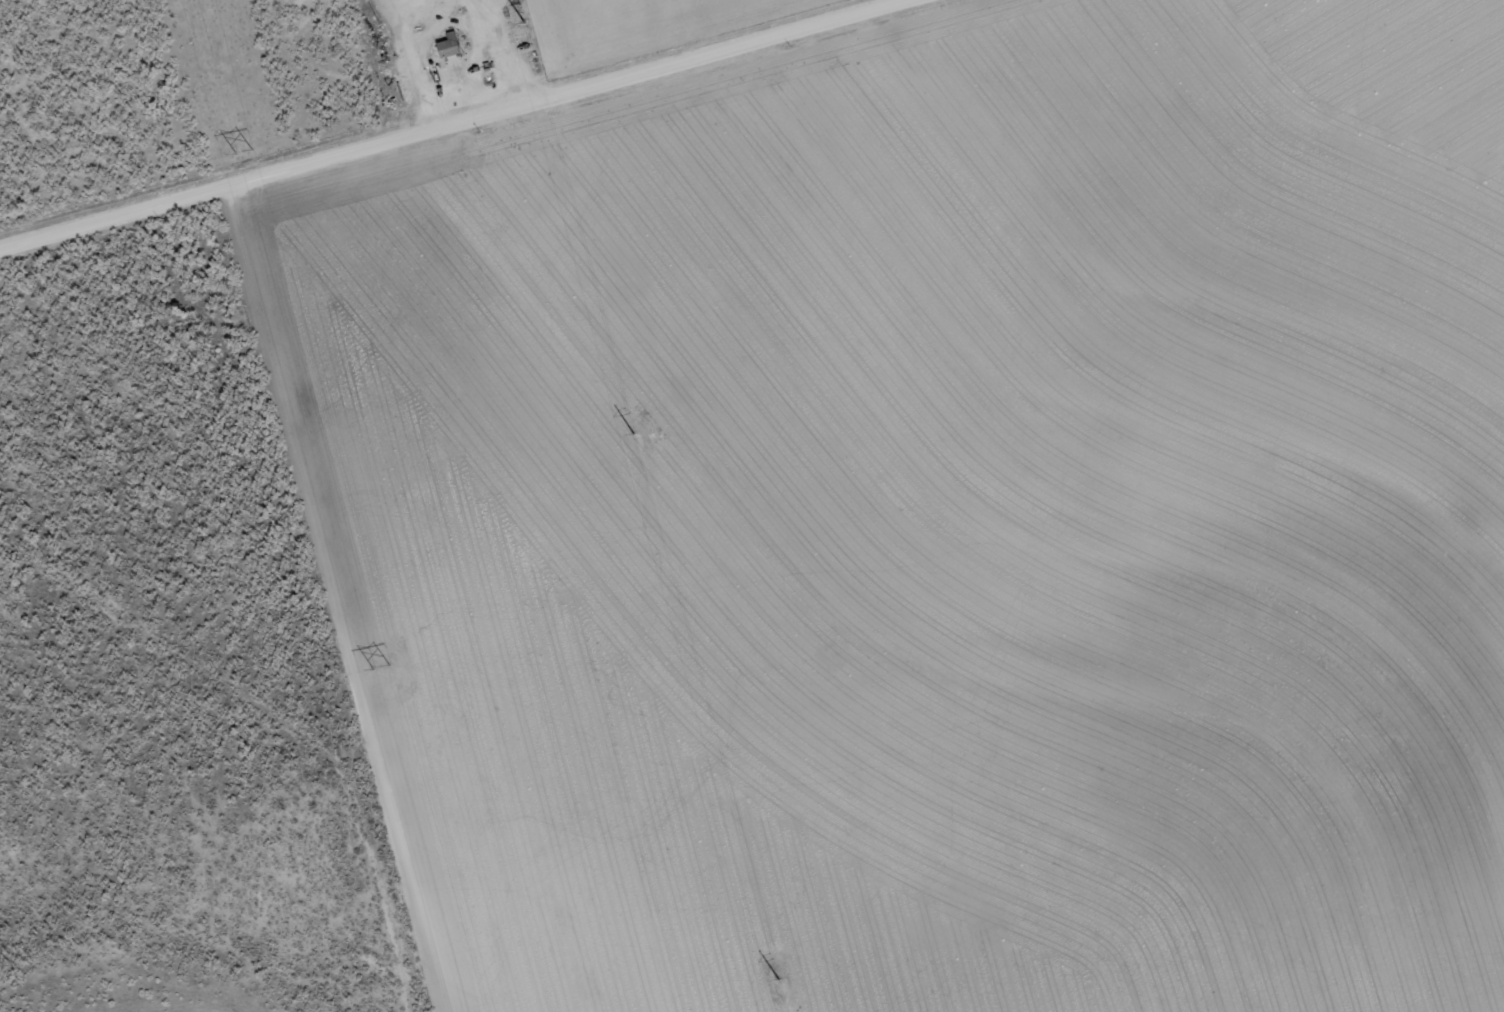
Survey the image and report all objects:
power tower: (525, 20)
building: (449, 44)
road: (444, 122)
power tower: (241, 148)
power tower: (634, 433)
power tower: (382, 664)
power tower: (778, 979)

